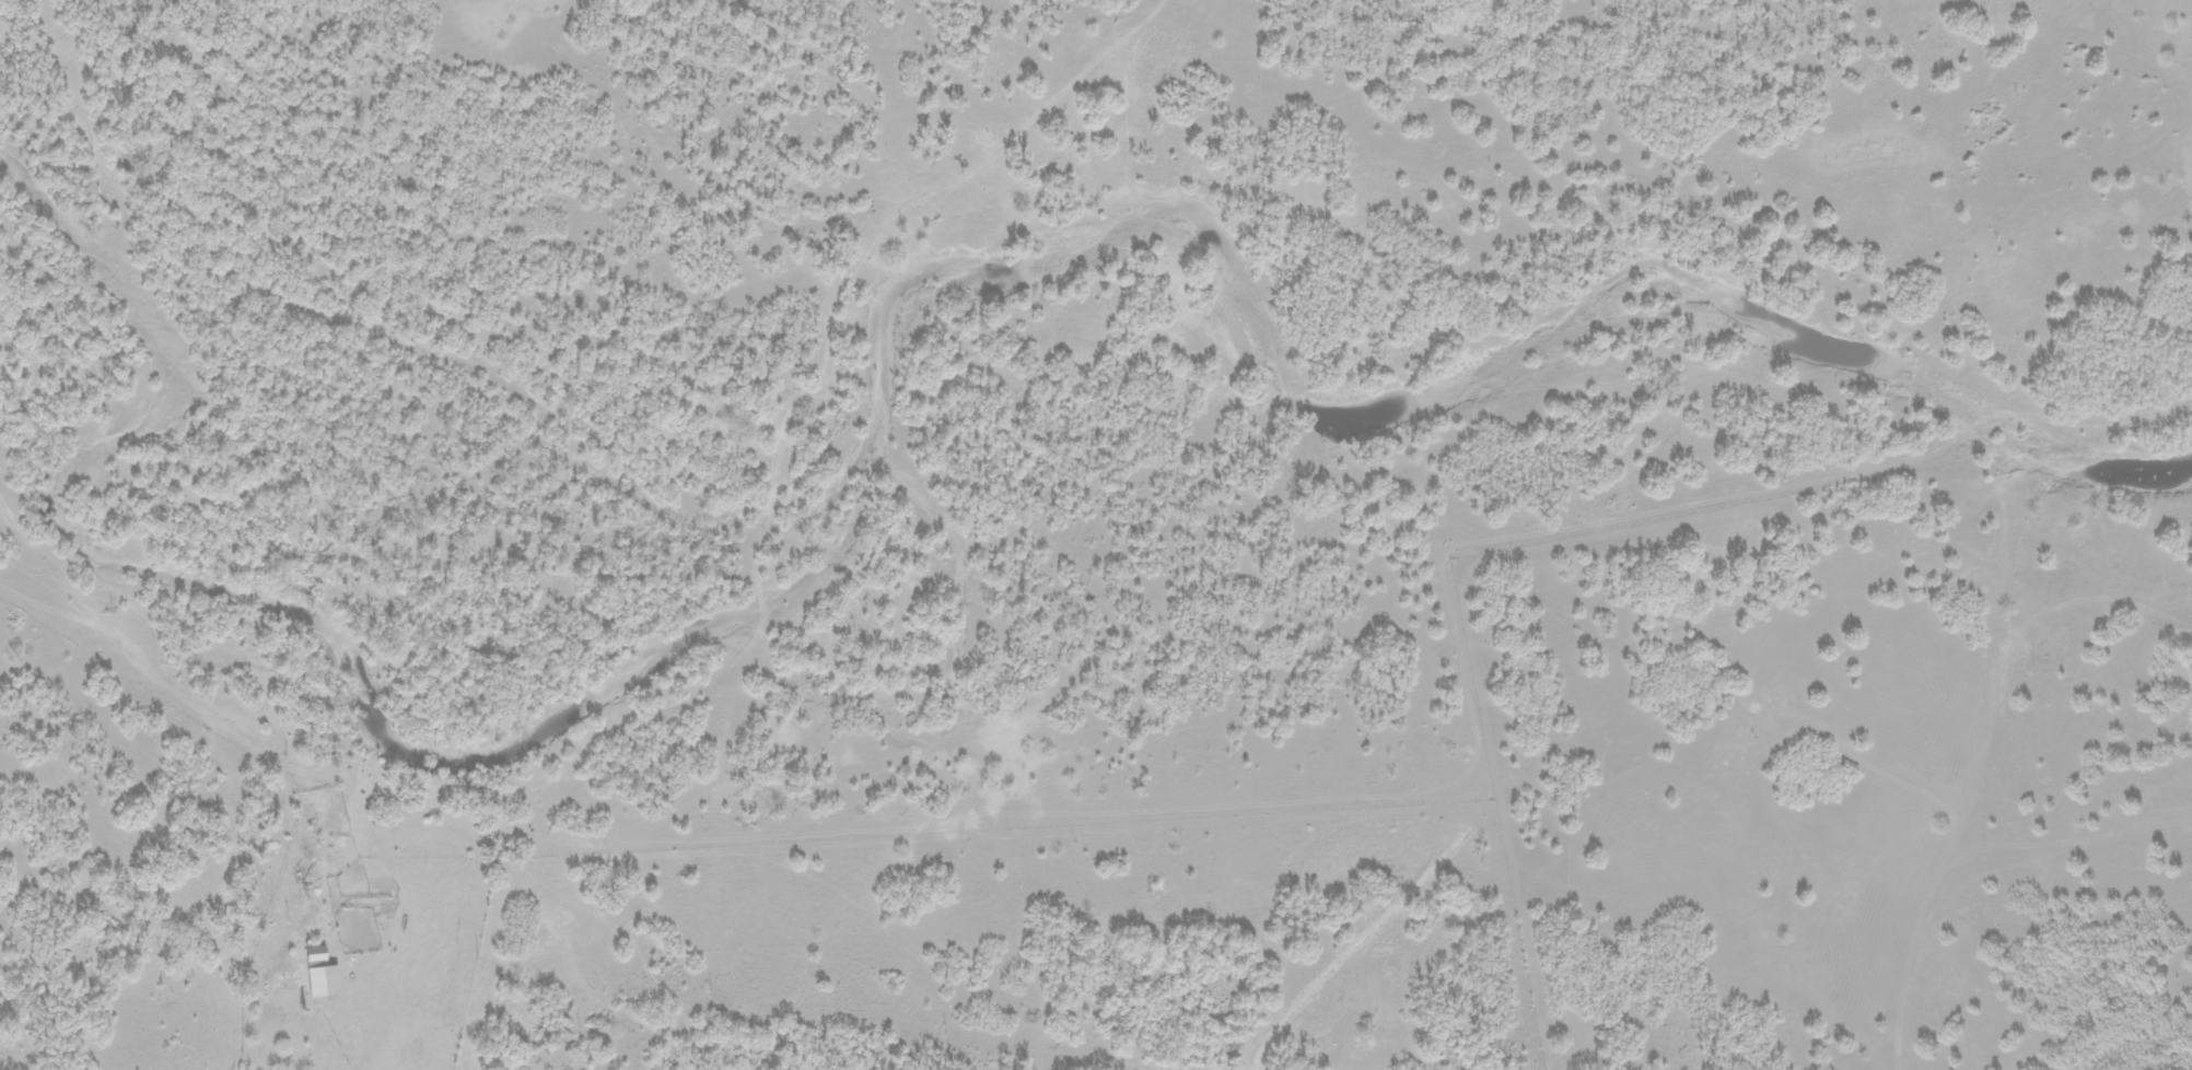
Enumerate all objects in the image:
road: (812, 537)
building: (323, 973)

